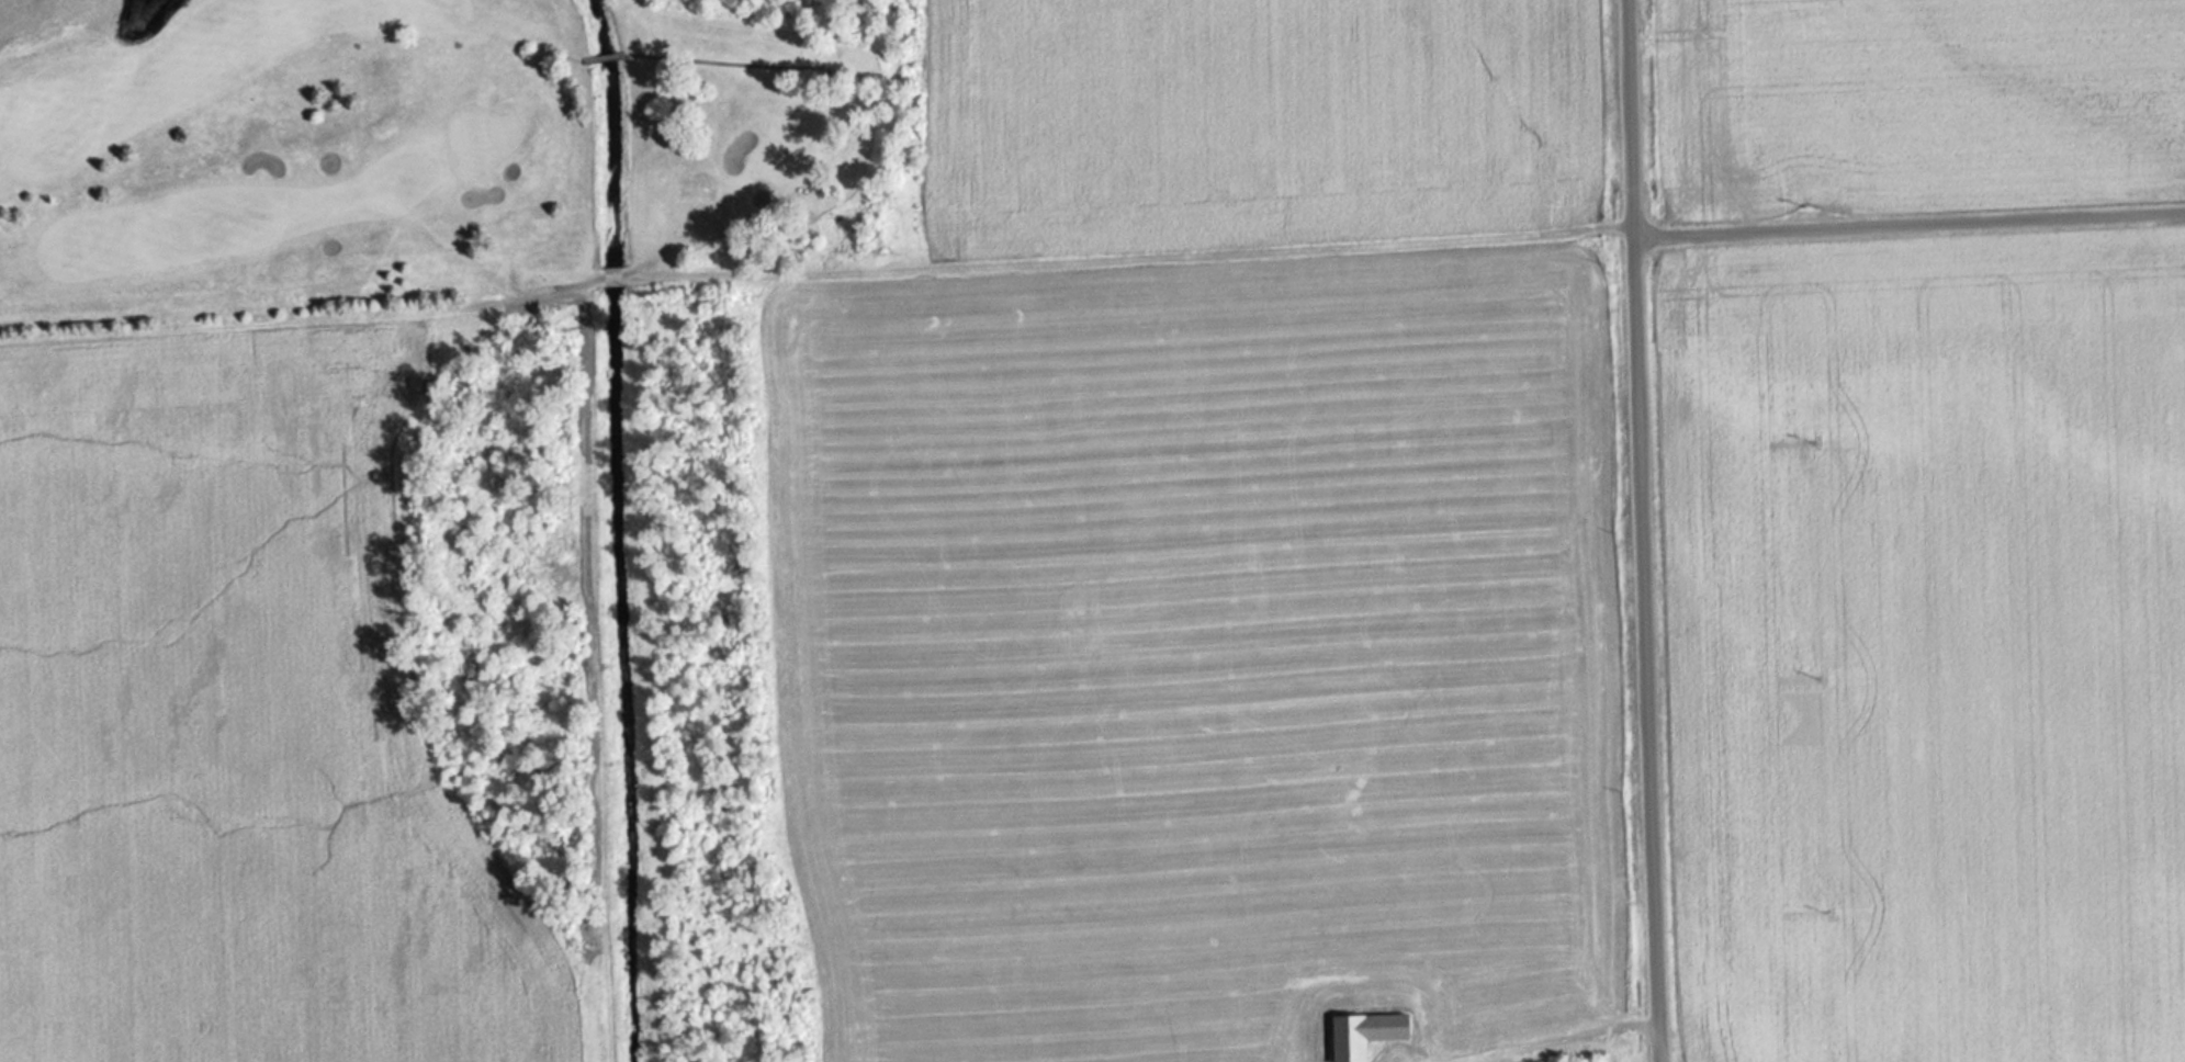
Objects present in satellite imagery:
crop: (1906, 102)
park: (414, 148)
road: (1908, 219)
road: (1640, 531)
building: (1369, 1033)

